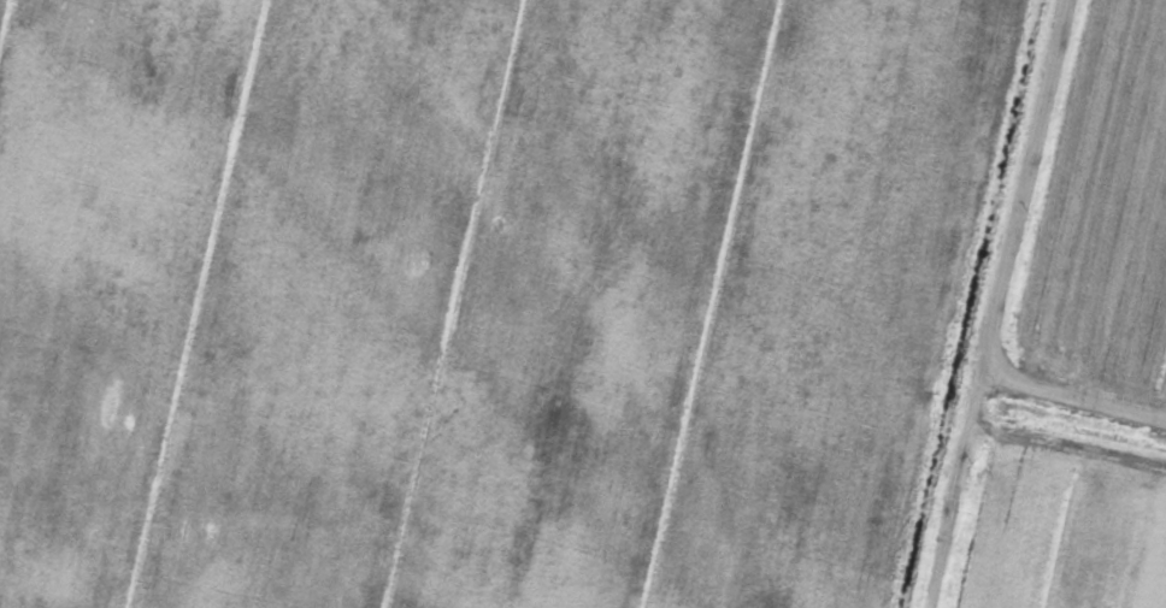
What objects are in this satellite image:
road: (997, 303)
road: (1074, 394)

